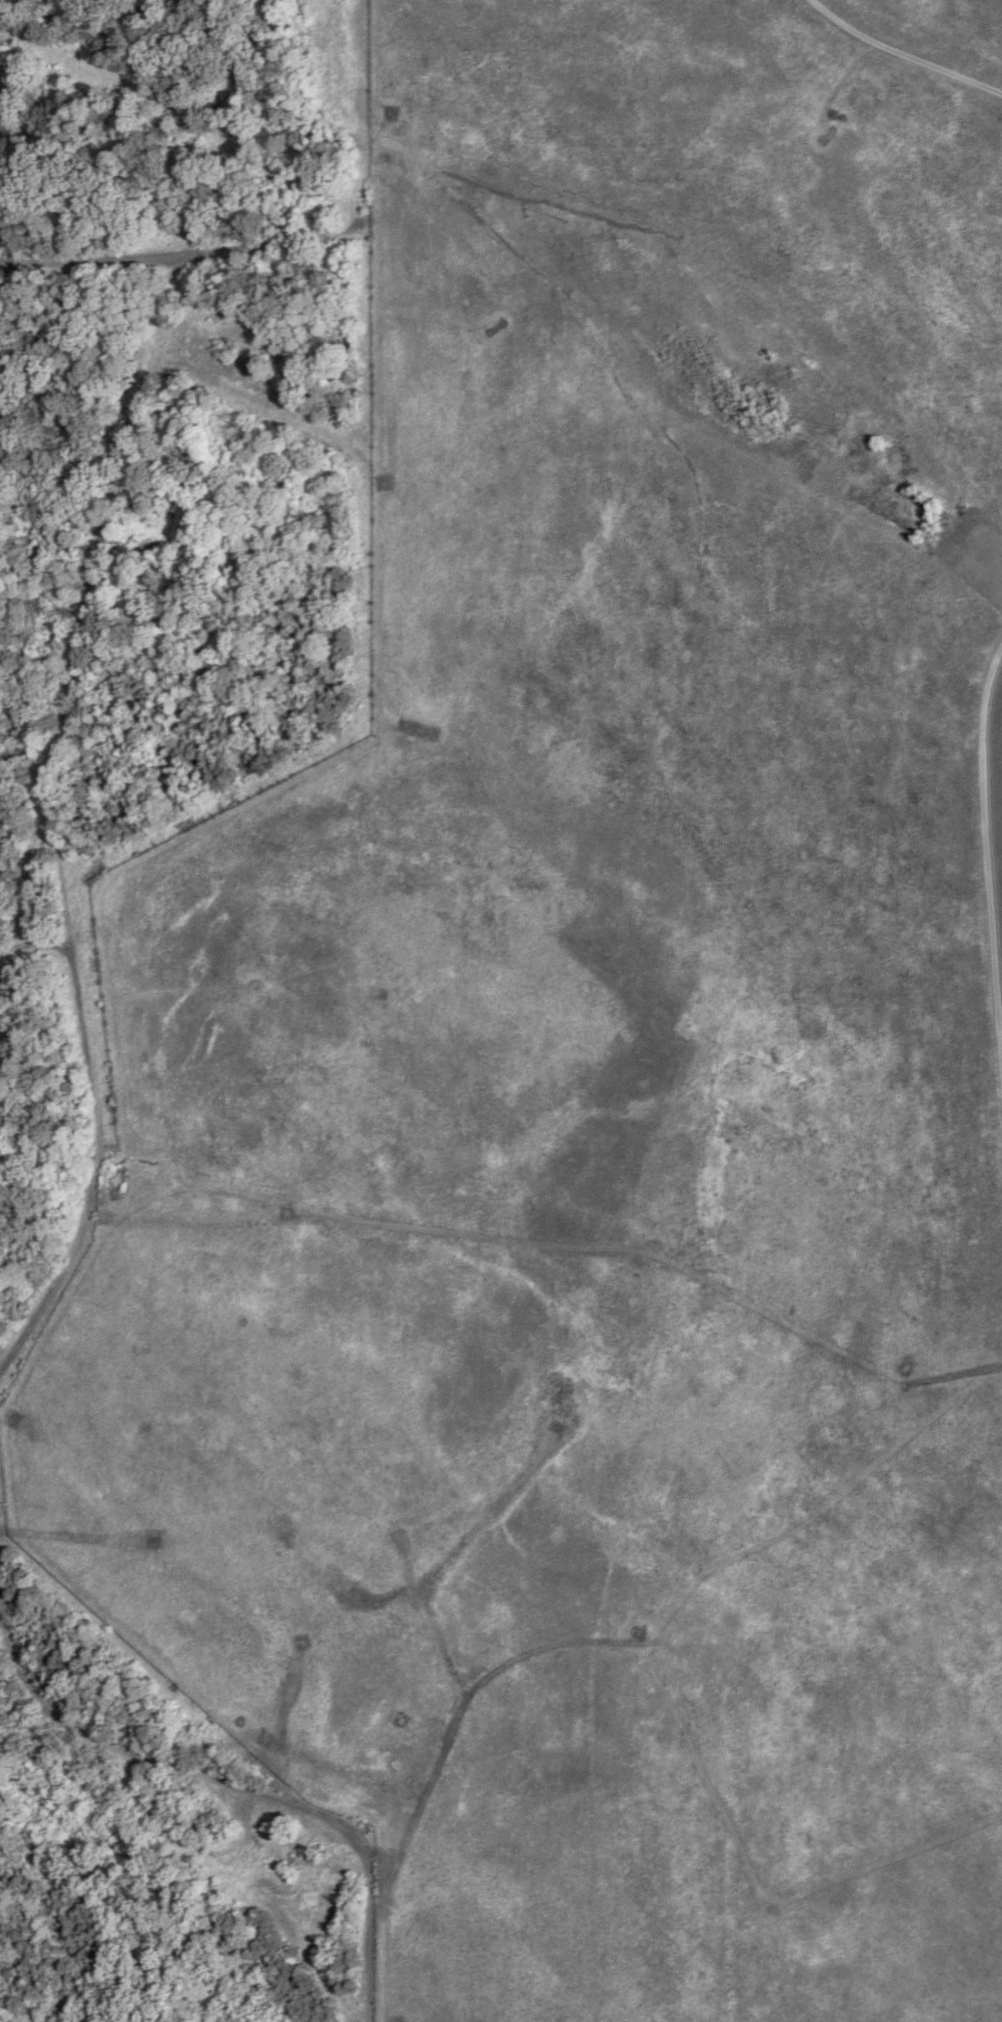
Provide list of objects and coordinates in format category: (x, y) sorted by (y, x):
road: (903, 53)
road: (175, 120)
road: (177, 256)
road: (257, 393)
road: (361, 522)
road: (52, 760)
landfill: (998, 773)
road: (988, 838)
road: (35, 946)
park: (604, 1059)
road: (231, 1785)

